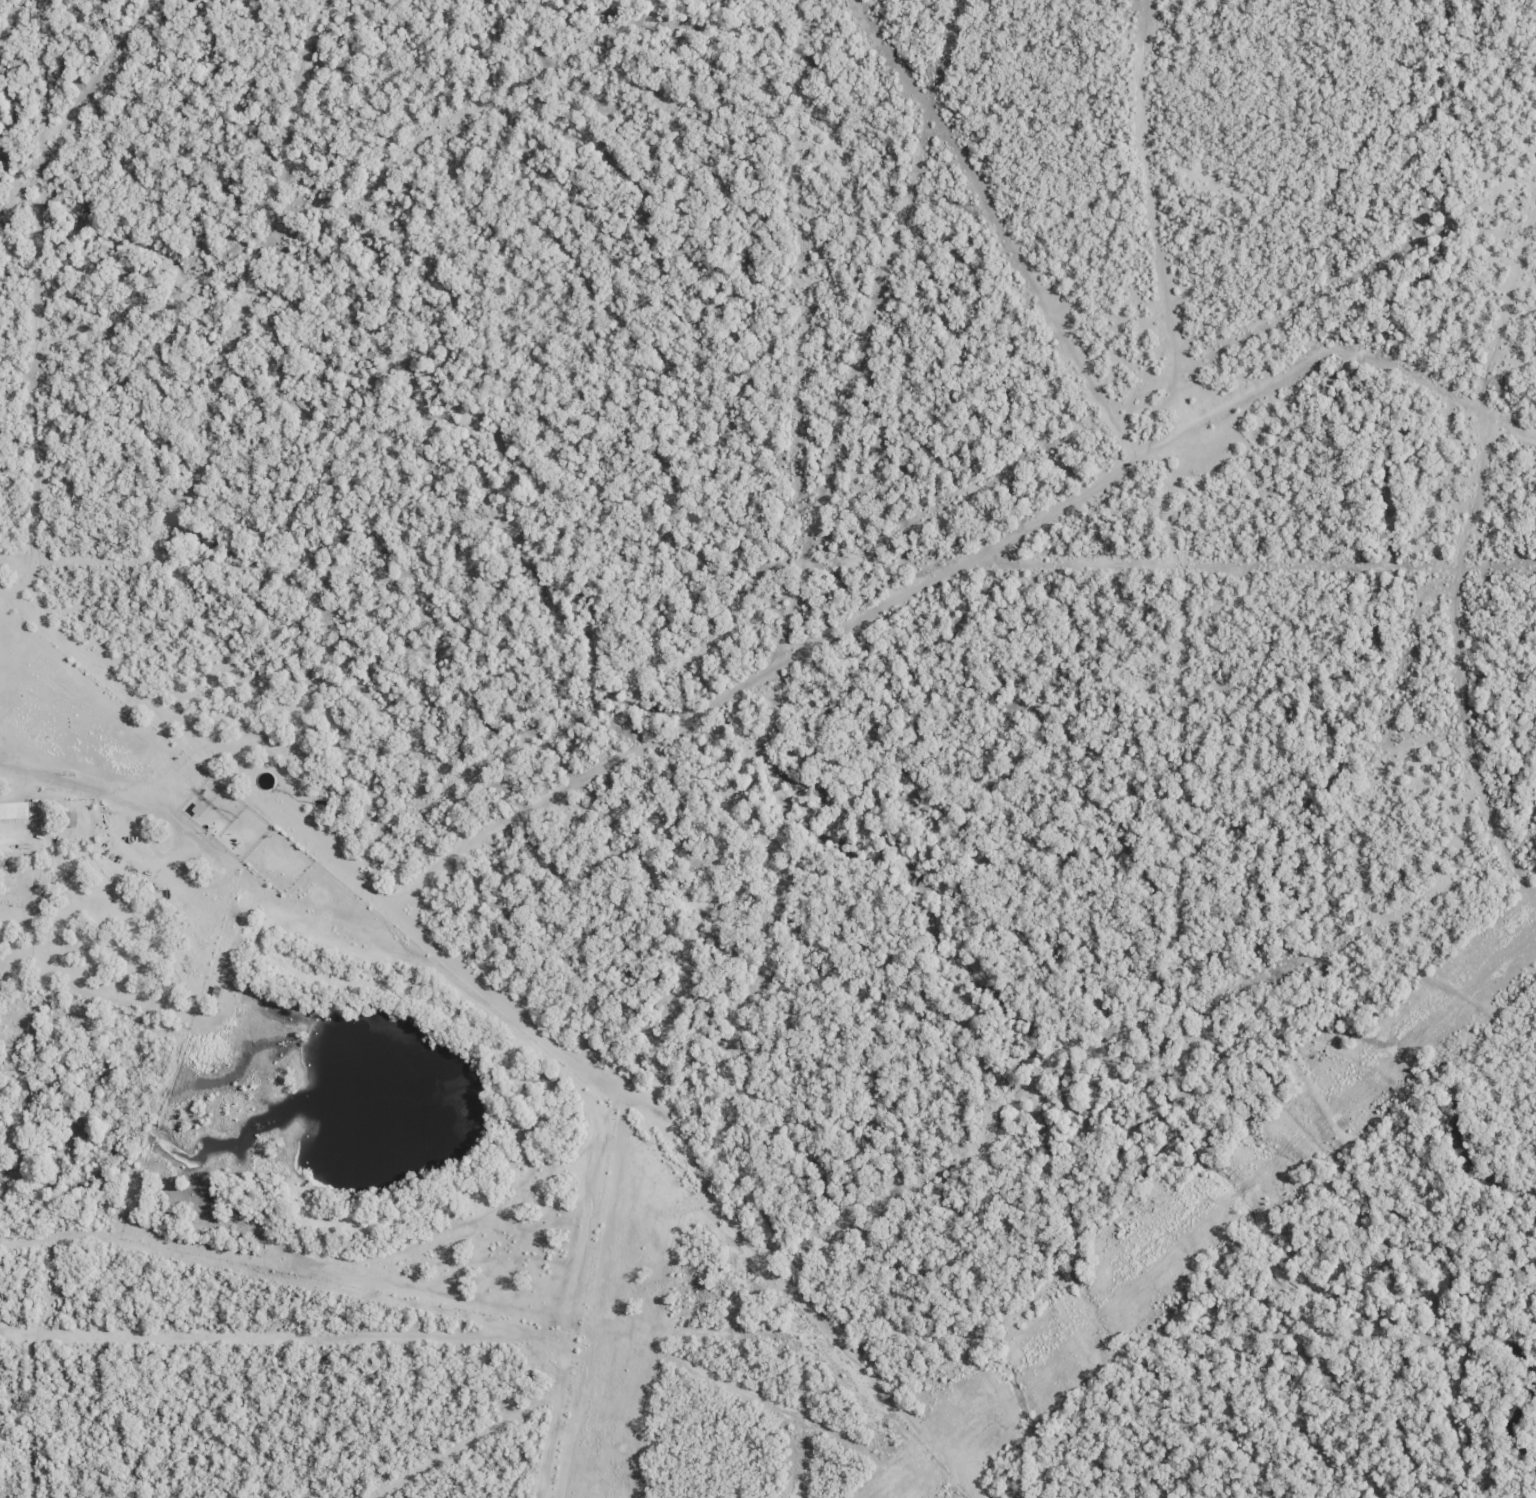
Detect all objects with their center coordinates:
building: (13, 811)

